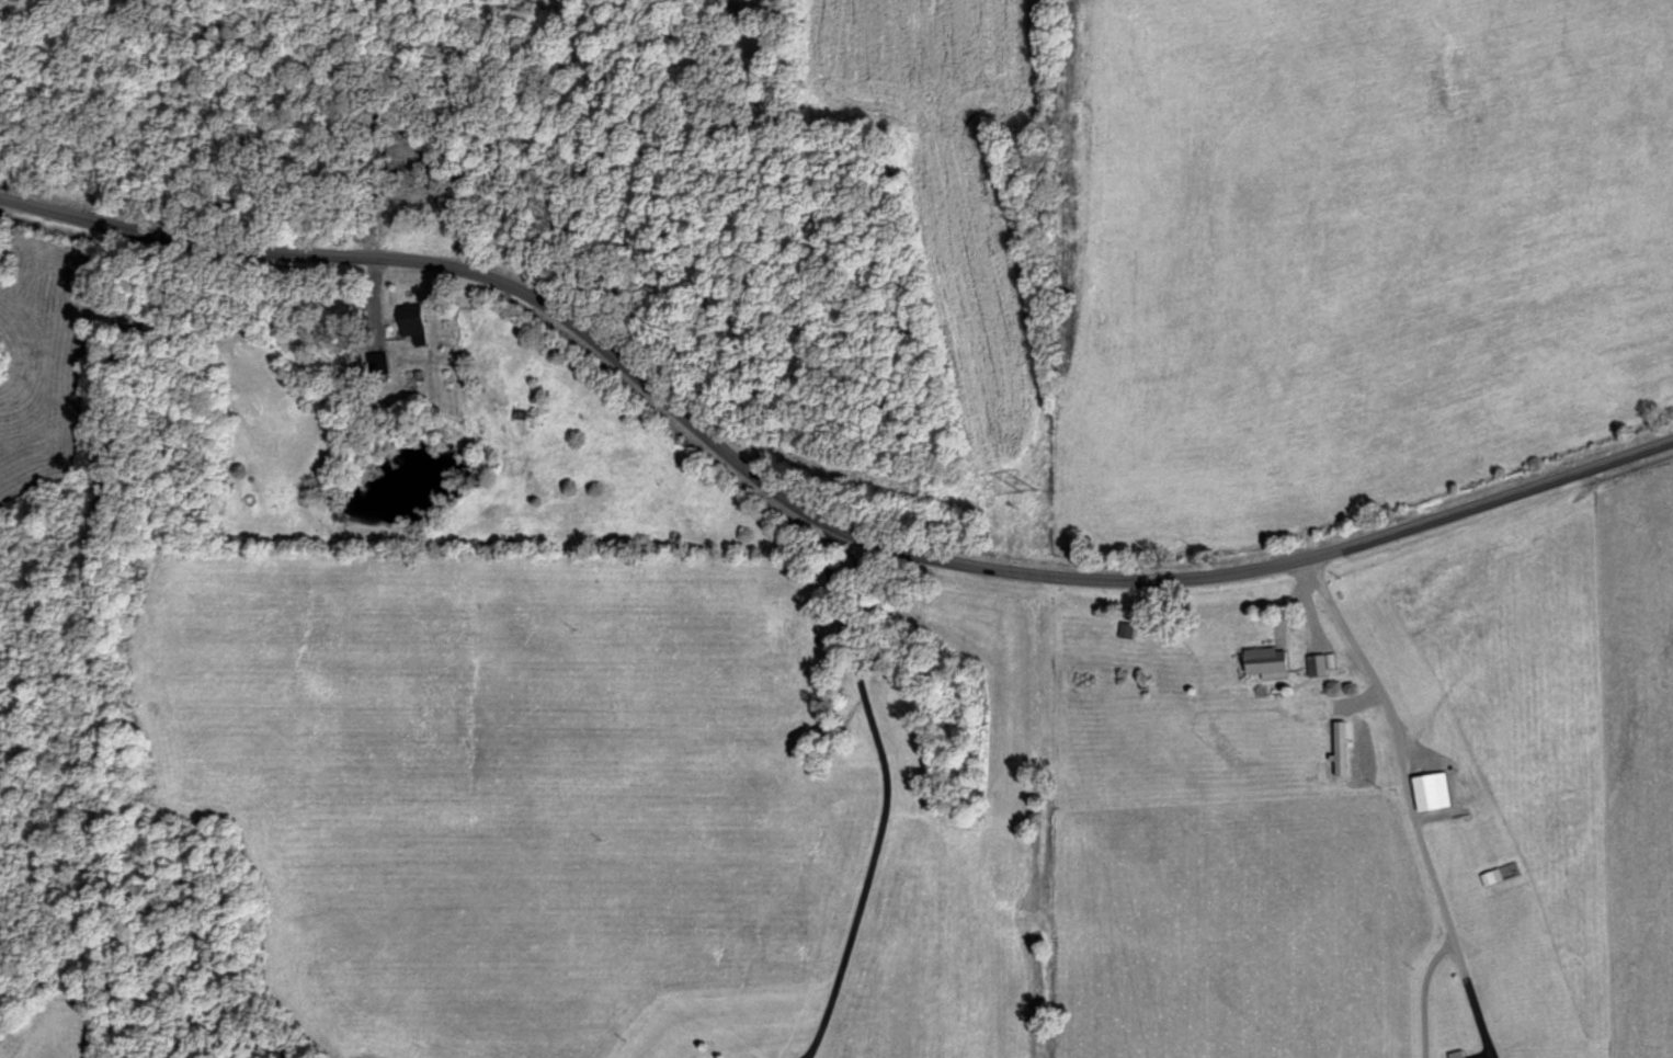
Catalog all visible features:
building: (411, 194)
building: (416, 322)
power tower: (1032, 496)
road: (809, 509)
building: (1126, 629)
building: (1268, 660)
building: (1318, 664)
building: (1434, 790)
road: (1408, 798)
building: (1492, 876)
building: (1449, 1025)
building: (1464, 1057)

